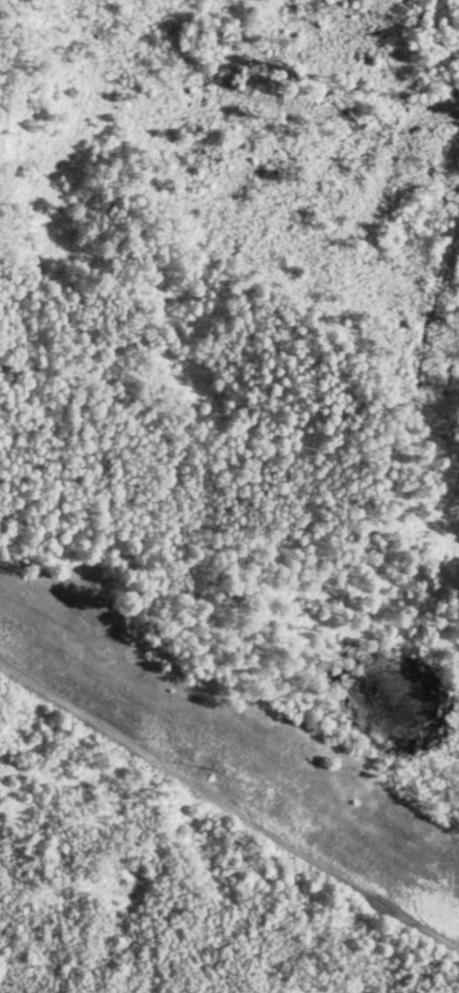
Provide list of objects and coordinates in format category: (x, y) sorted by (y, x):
road: (228, 808)

